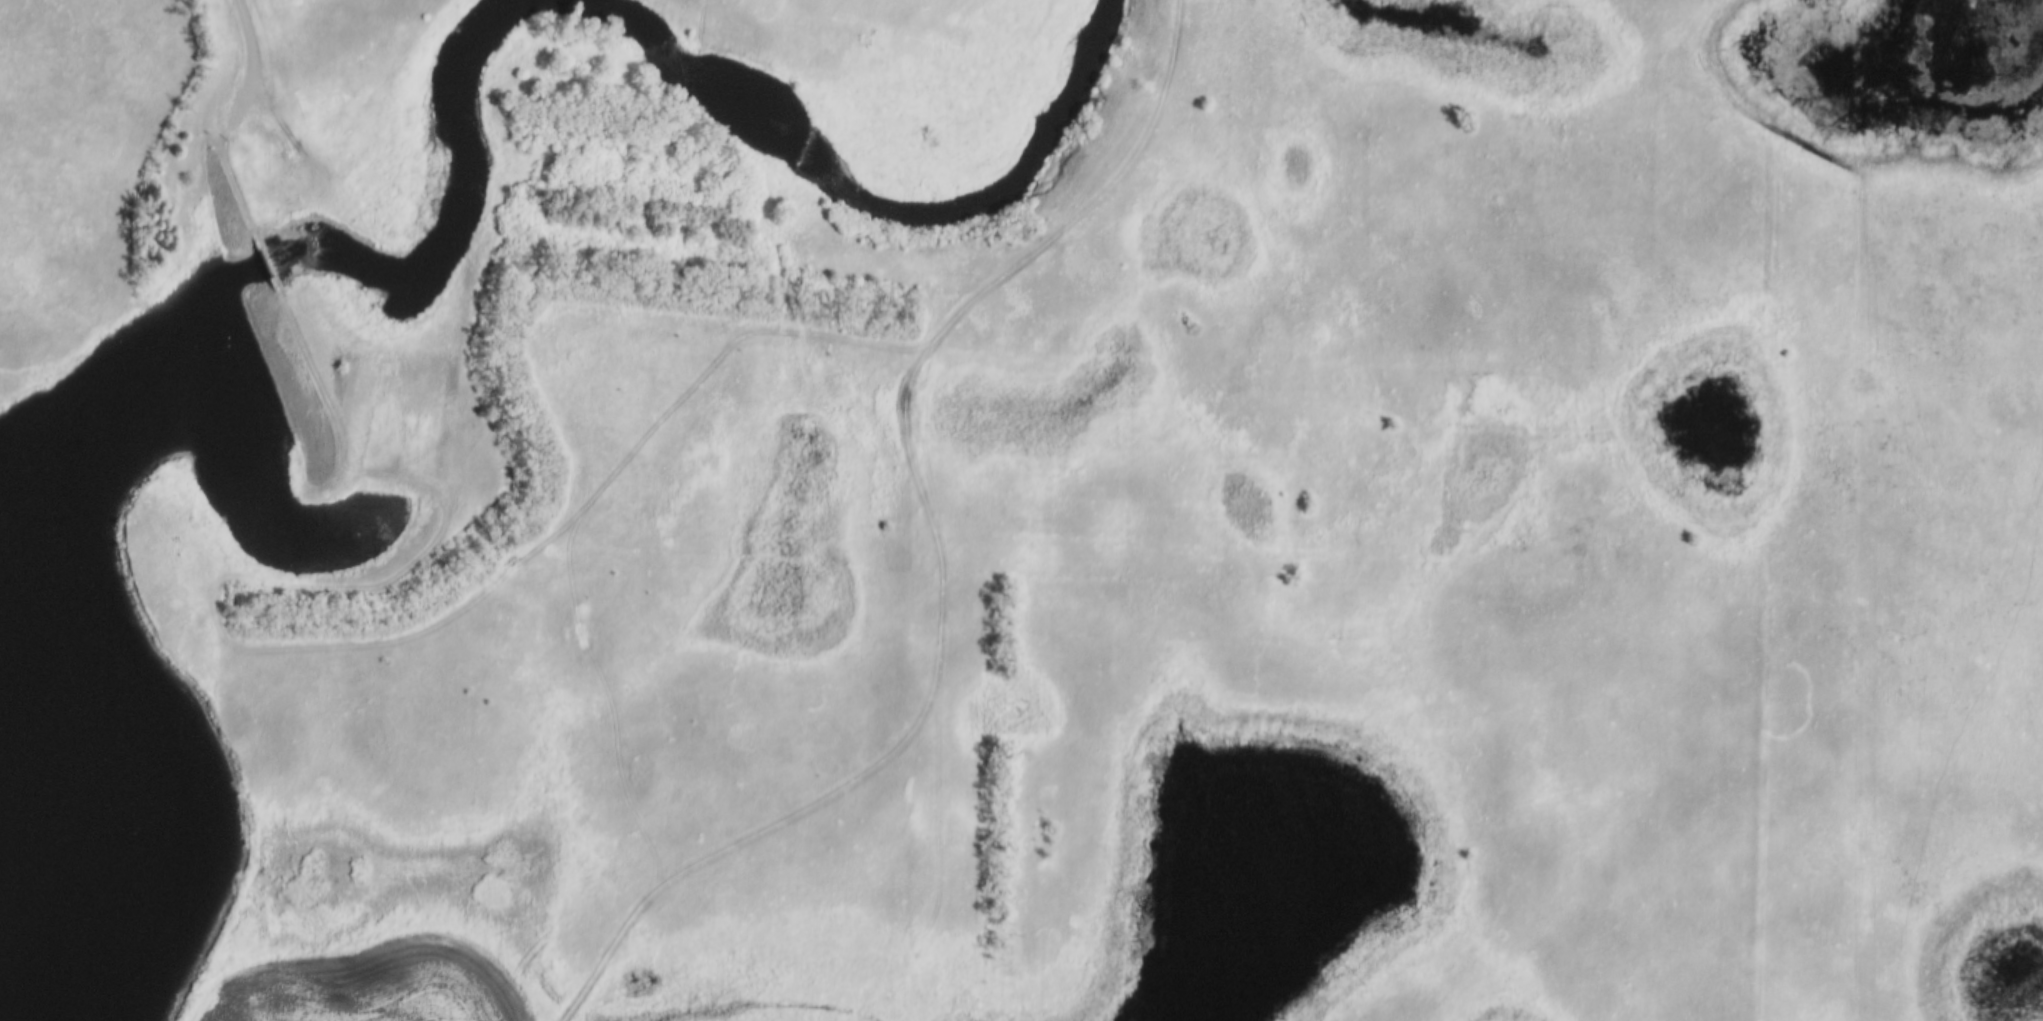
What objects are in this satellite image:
road: (252, 63)
river: (669, 73)
dam: (285, 314)
river: (162, 404)

